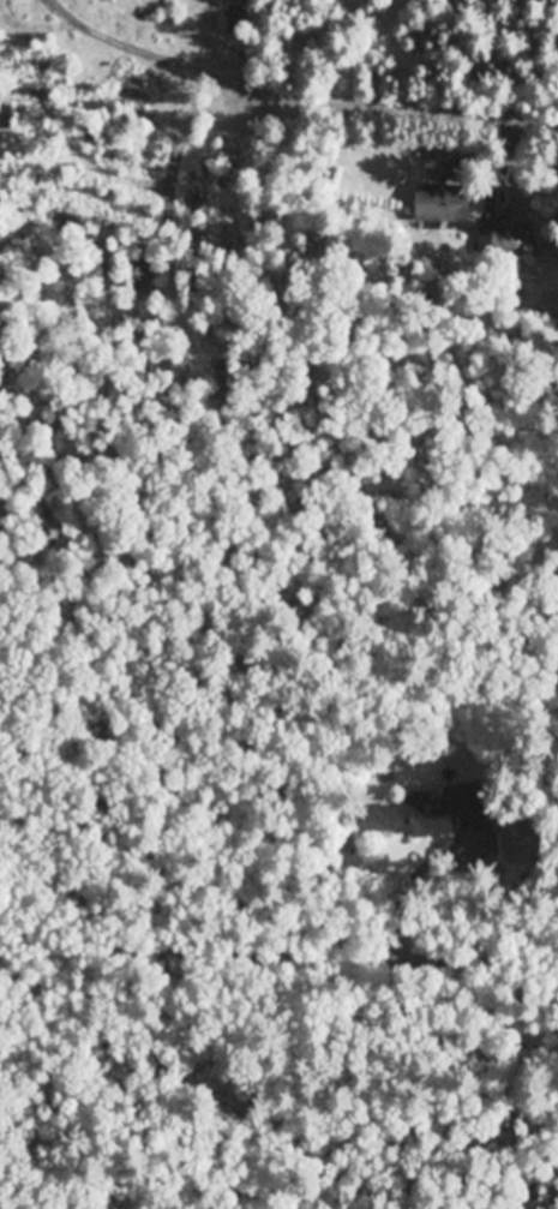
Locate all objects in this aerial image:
road: (294, 95)
building: (436, 207)
building: (421, 816)
road: (278, 950)

